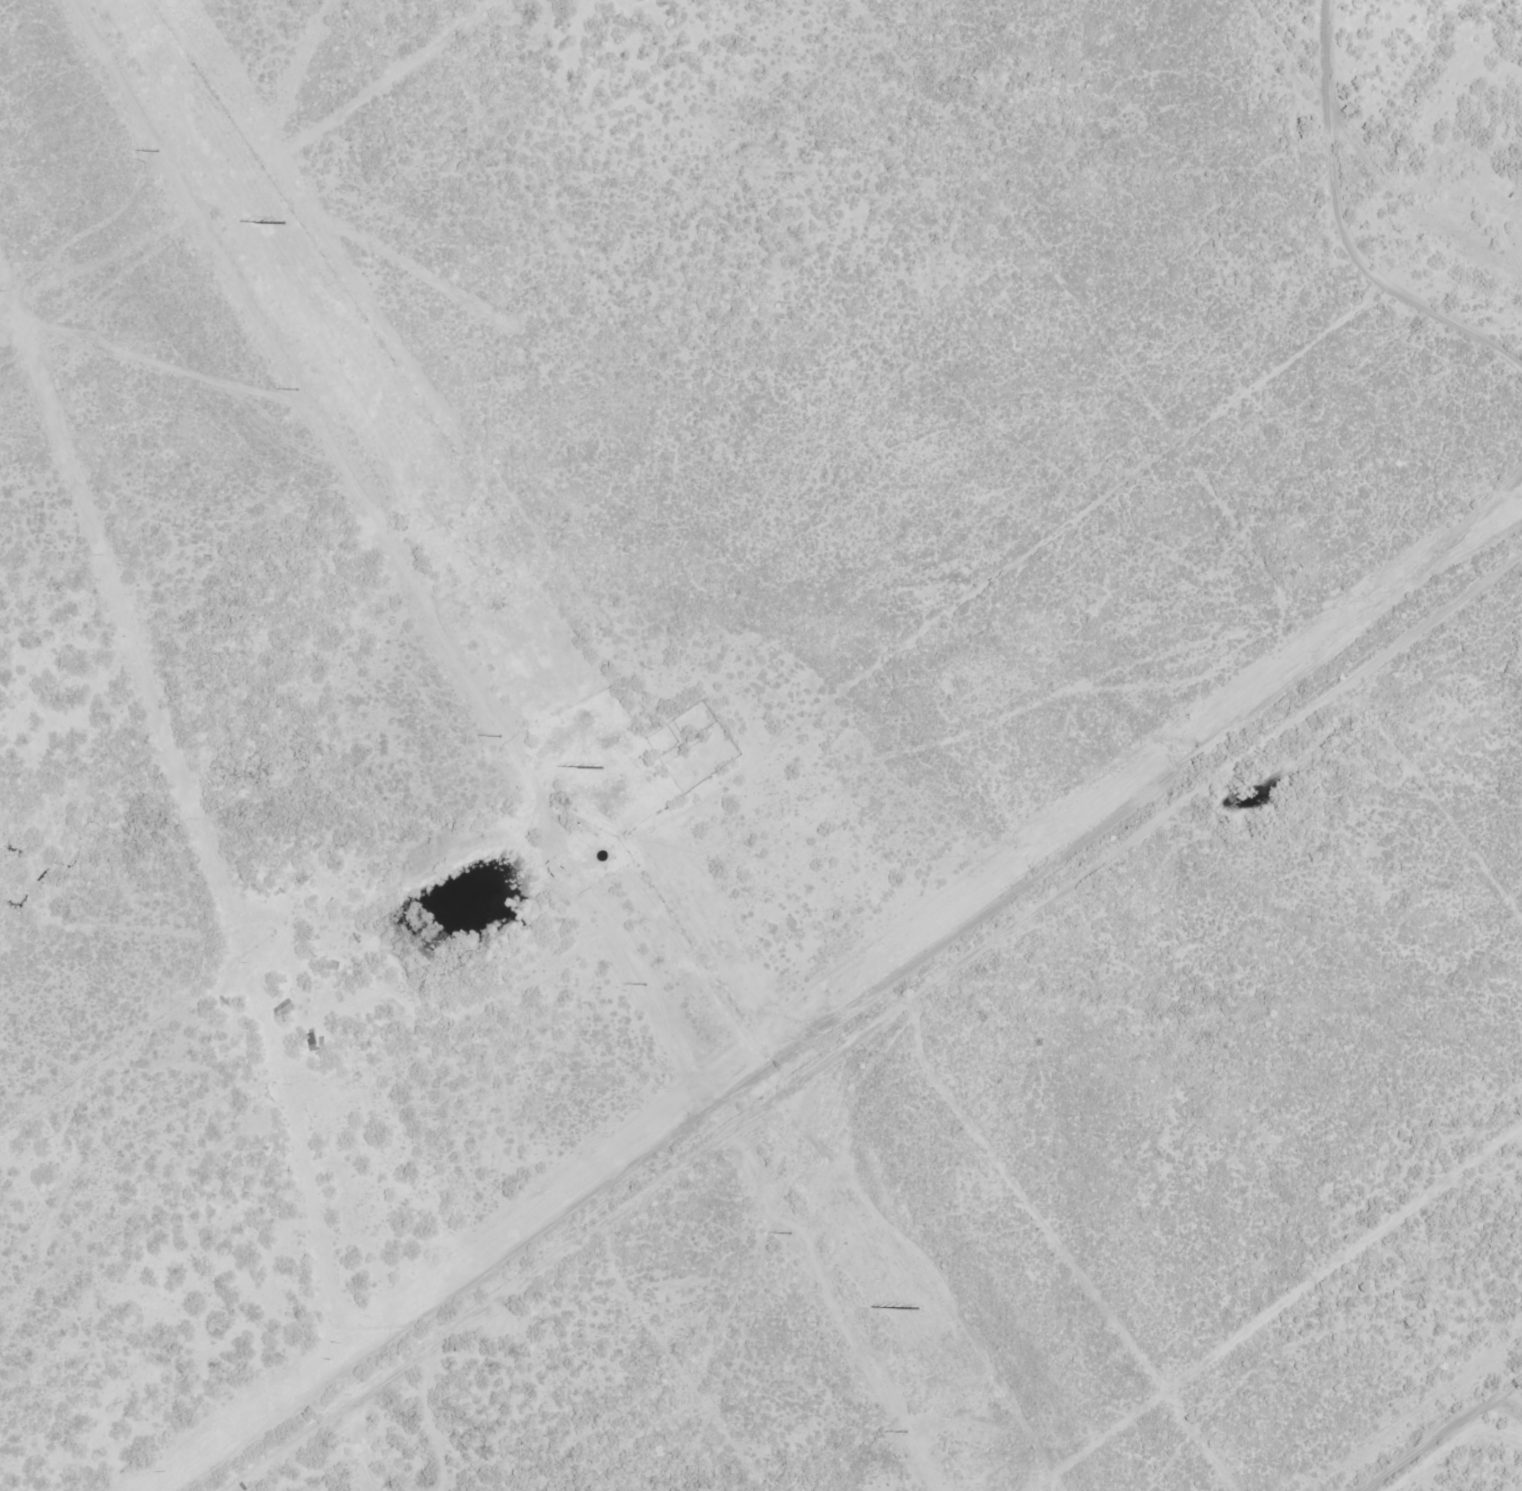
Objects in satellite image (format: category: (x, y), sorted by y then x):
road: (1316, 74)
power tower: (157, 150)
road: (1406, 157)
power tower: (279, 225)
road: (213, 265)
power tower: (296, 388)
power tower: (496, 736)
power tower: (595, 769)
road: (714, 878)
power tower: (641, 985)
power tower: (789, 1233)
power tower: (915, 1310)
road: (1311, 1357)
power tower: (905, 1431)

